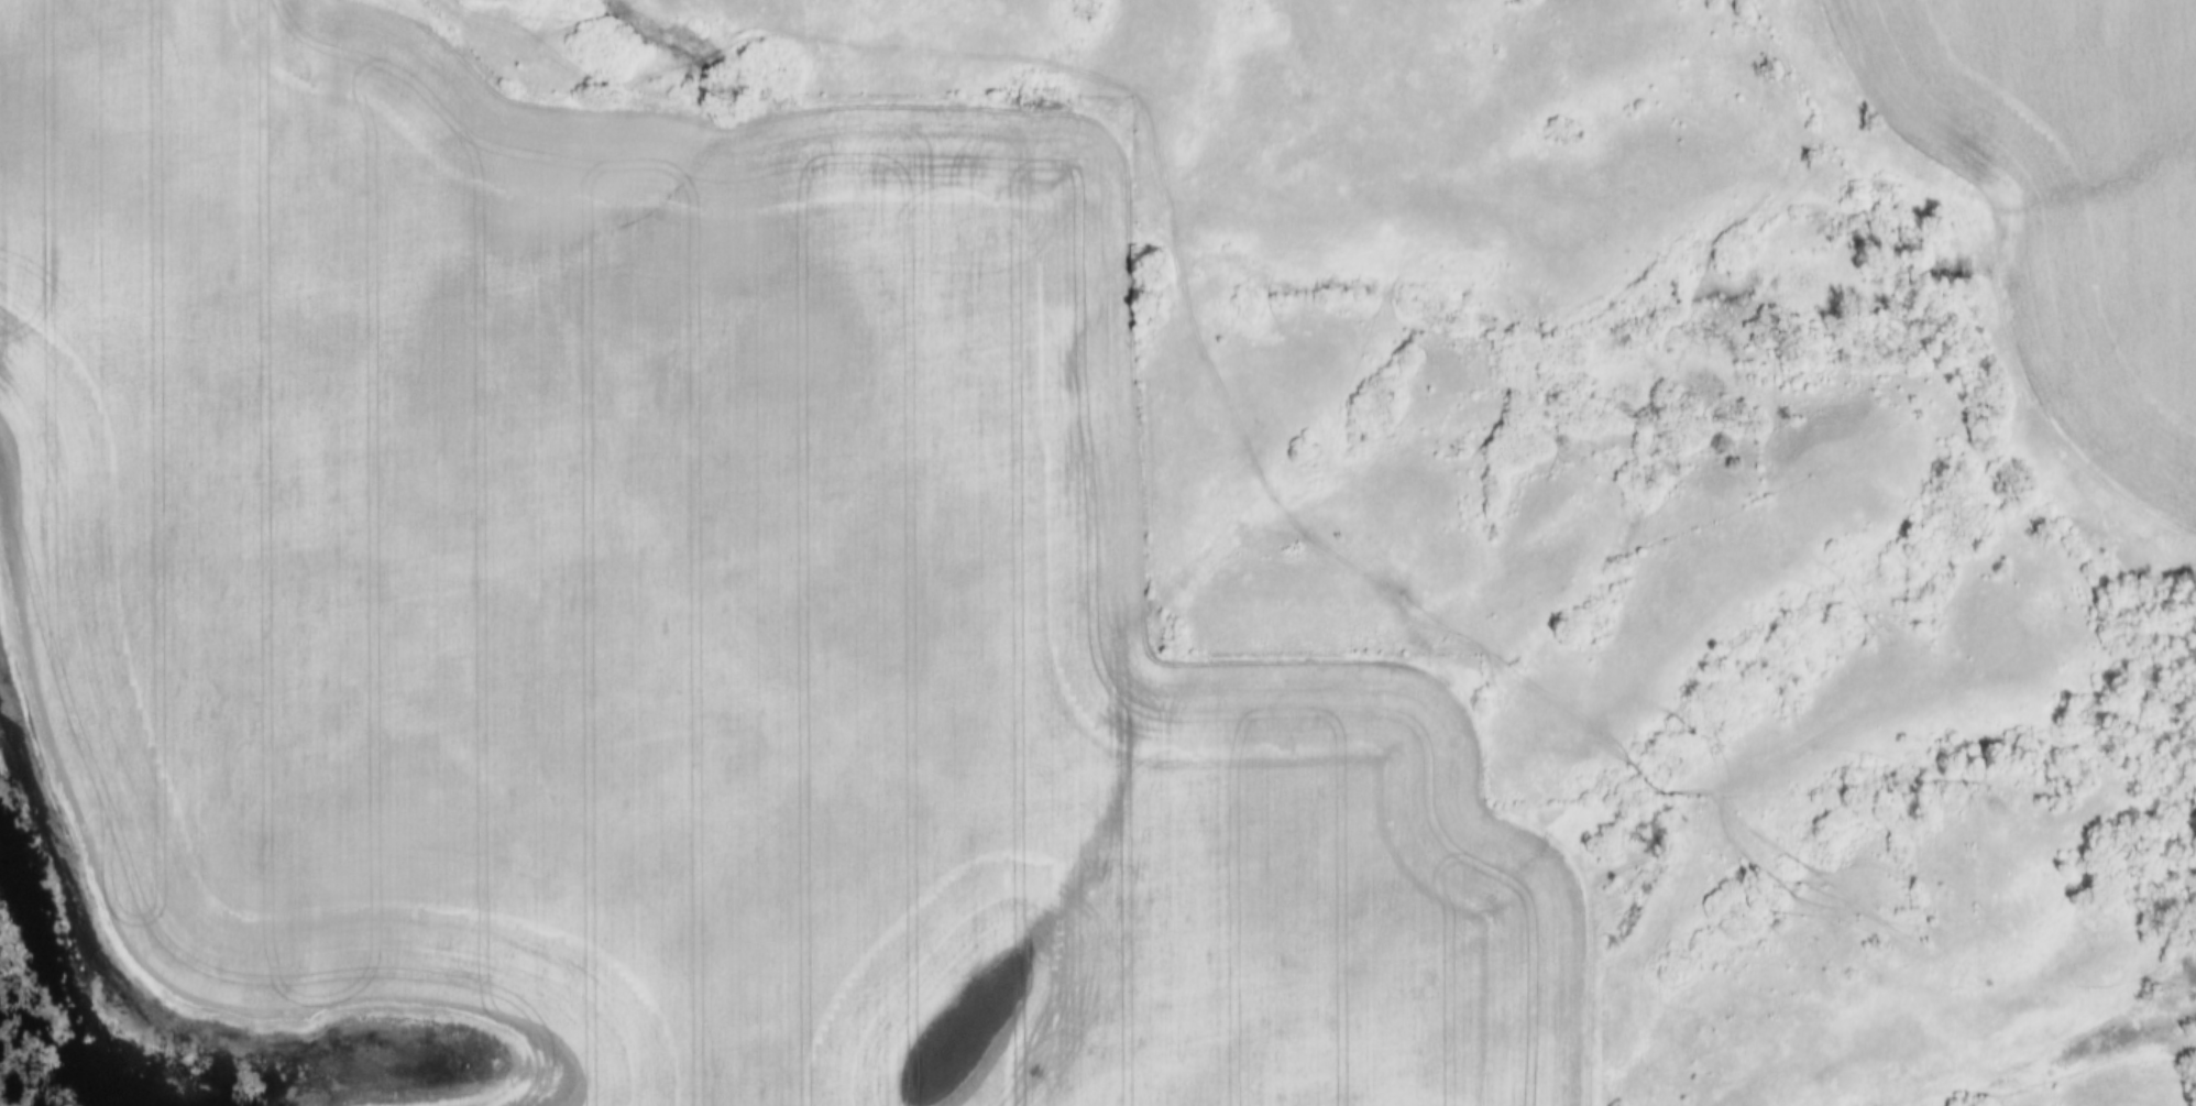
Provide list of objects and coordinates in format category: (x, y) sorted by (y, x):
road: (2036, 1060)

